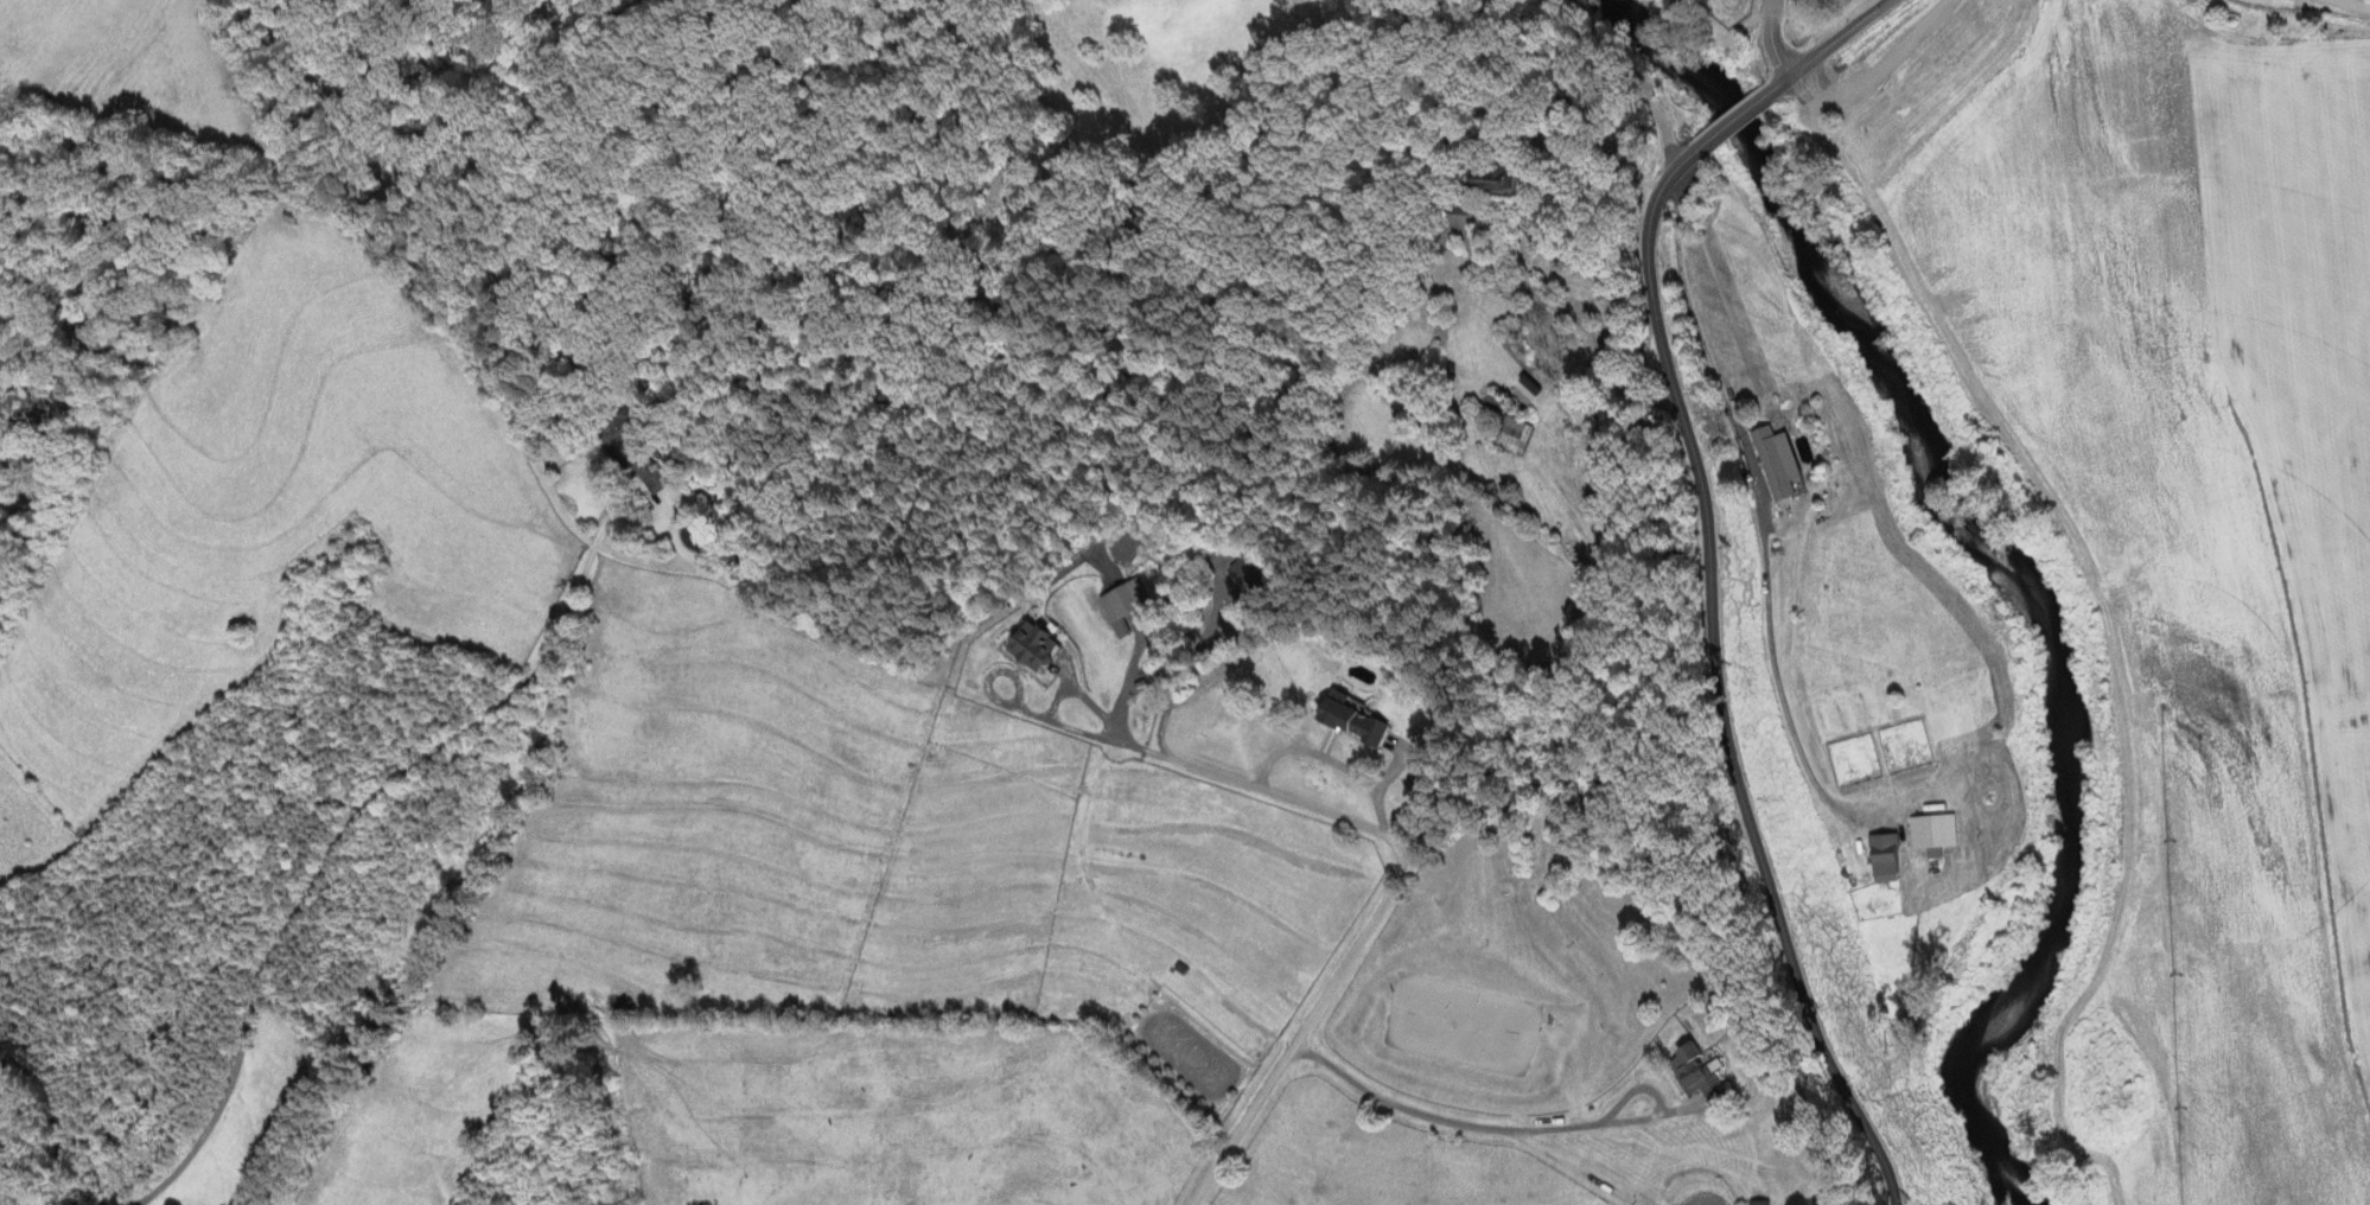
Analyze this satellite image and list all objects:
road: (2363, 2)
road: (1772, 40)
road: (1831, 44)
road: (1879, 76)
road: (1733, 119)
road: (1359, 236)
road: (1537, 297)
road: (1753, 497)
road: (610, 522)
river: (2020, 563)
road: (1177, 681)
road: (1721, 681)
road: (1321, 761)
road: (1186, 769)
road: (320, 868)
road: (1448, 1118)

